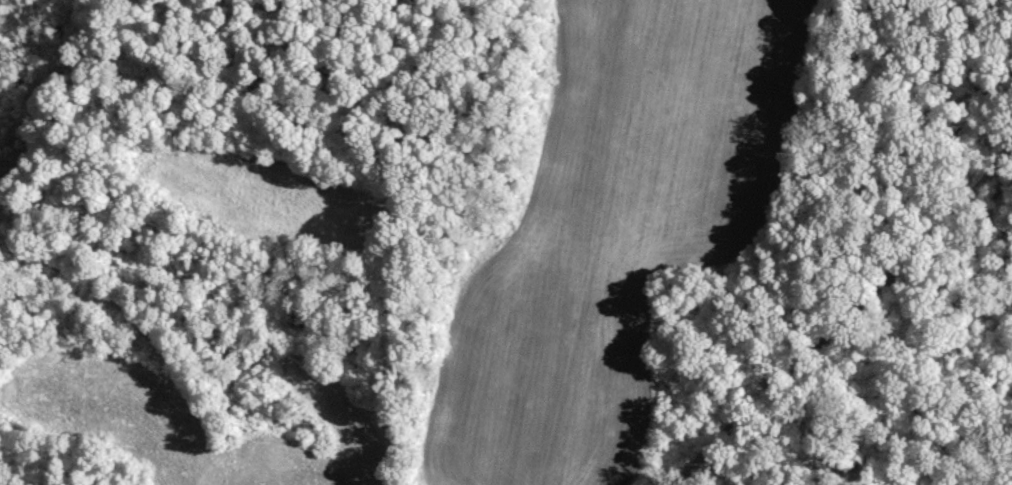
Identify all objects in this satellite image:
road: (849, 324)

